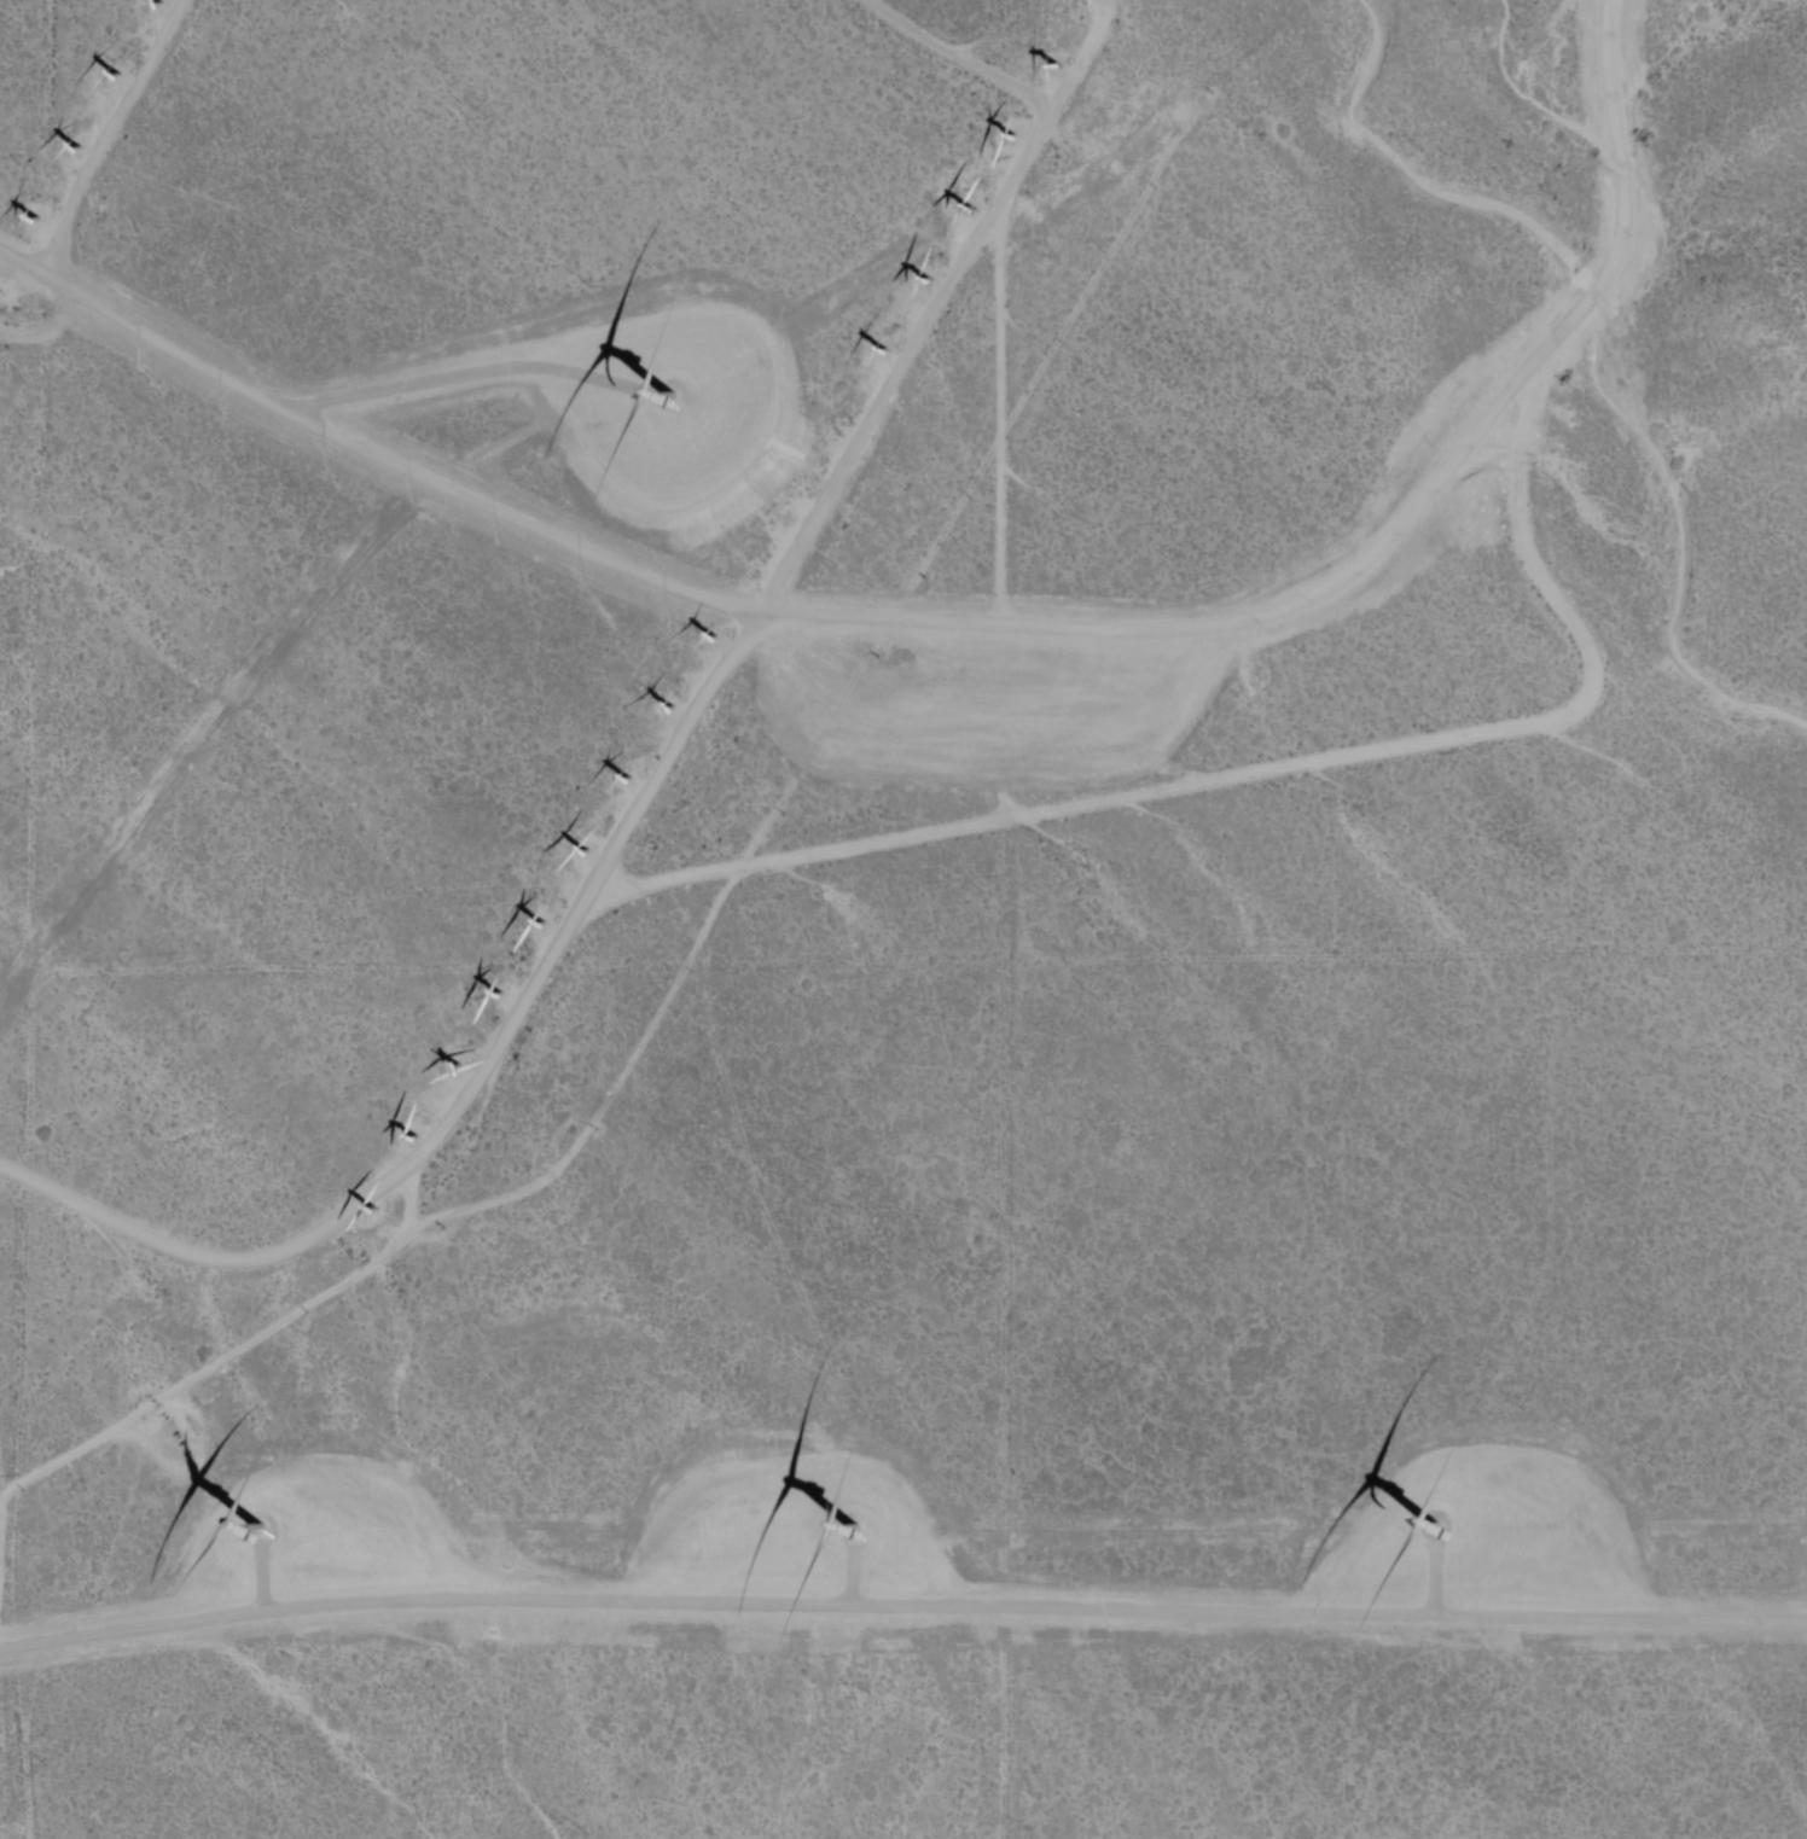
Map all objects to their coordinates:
wind turbine: (159, 5)
wind turbine: (1051, 69)
wind turbine: (116, 77)
wind turbine: (1010, 138)
wind turbine: (72, 150)
wind turbine: (964, 213)
wind turbine: (35, 222)
wind turbine: (926, 279)
wind turbine: (881, 350)
wind turbine: (681, 402)
wind turbine: (838, 426)
wind turbine: (798, 497)
wind turbine: (753, 570)
wind turbine: (715, 636)
wind turbine: (672, 712)
wind turbine: (628, 782)
wind turbine: (585, 852)
wind turbine: (542, 925)
wind turbine: (498, 995)
wind turbine: (458, 1067)
wind turbine: (416, 1139)
wind turbine: (374, 1210)
wind turbine: (257, 1536)
wind turbine: (848, 1540)
wind turbine: (1425, 1540)

